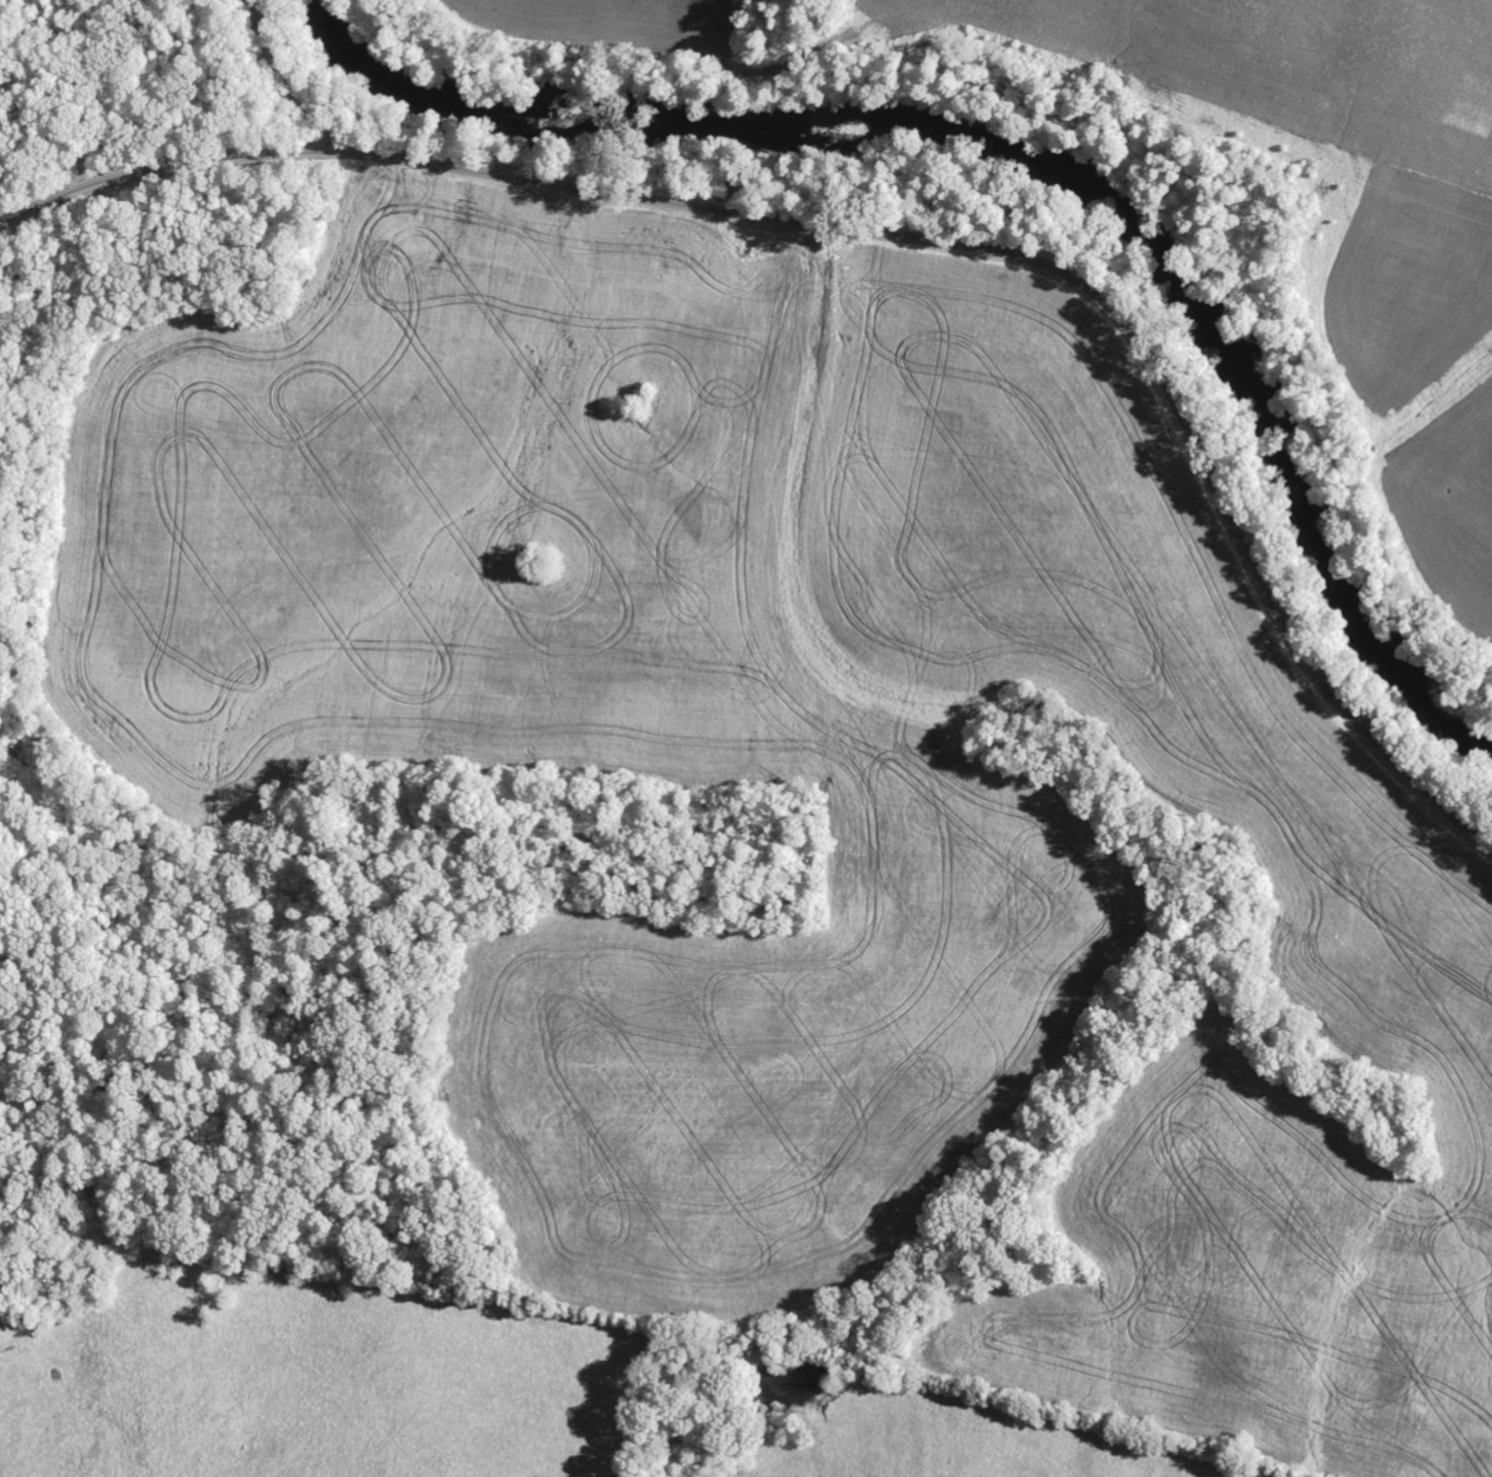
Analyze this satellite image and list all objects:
road: (232, 61)
road: (111, 98)
road: (889, 238)

